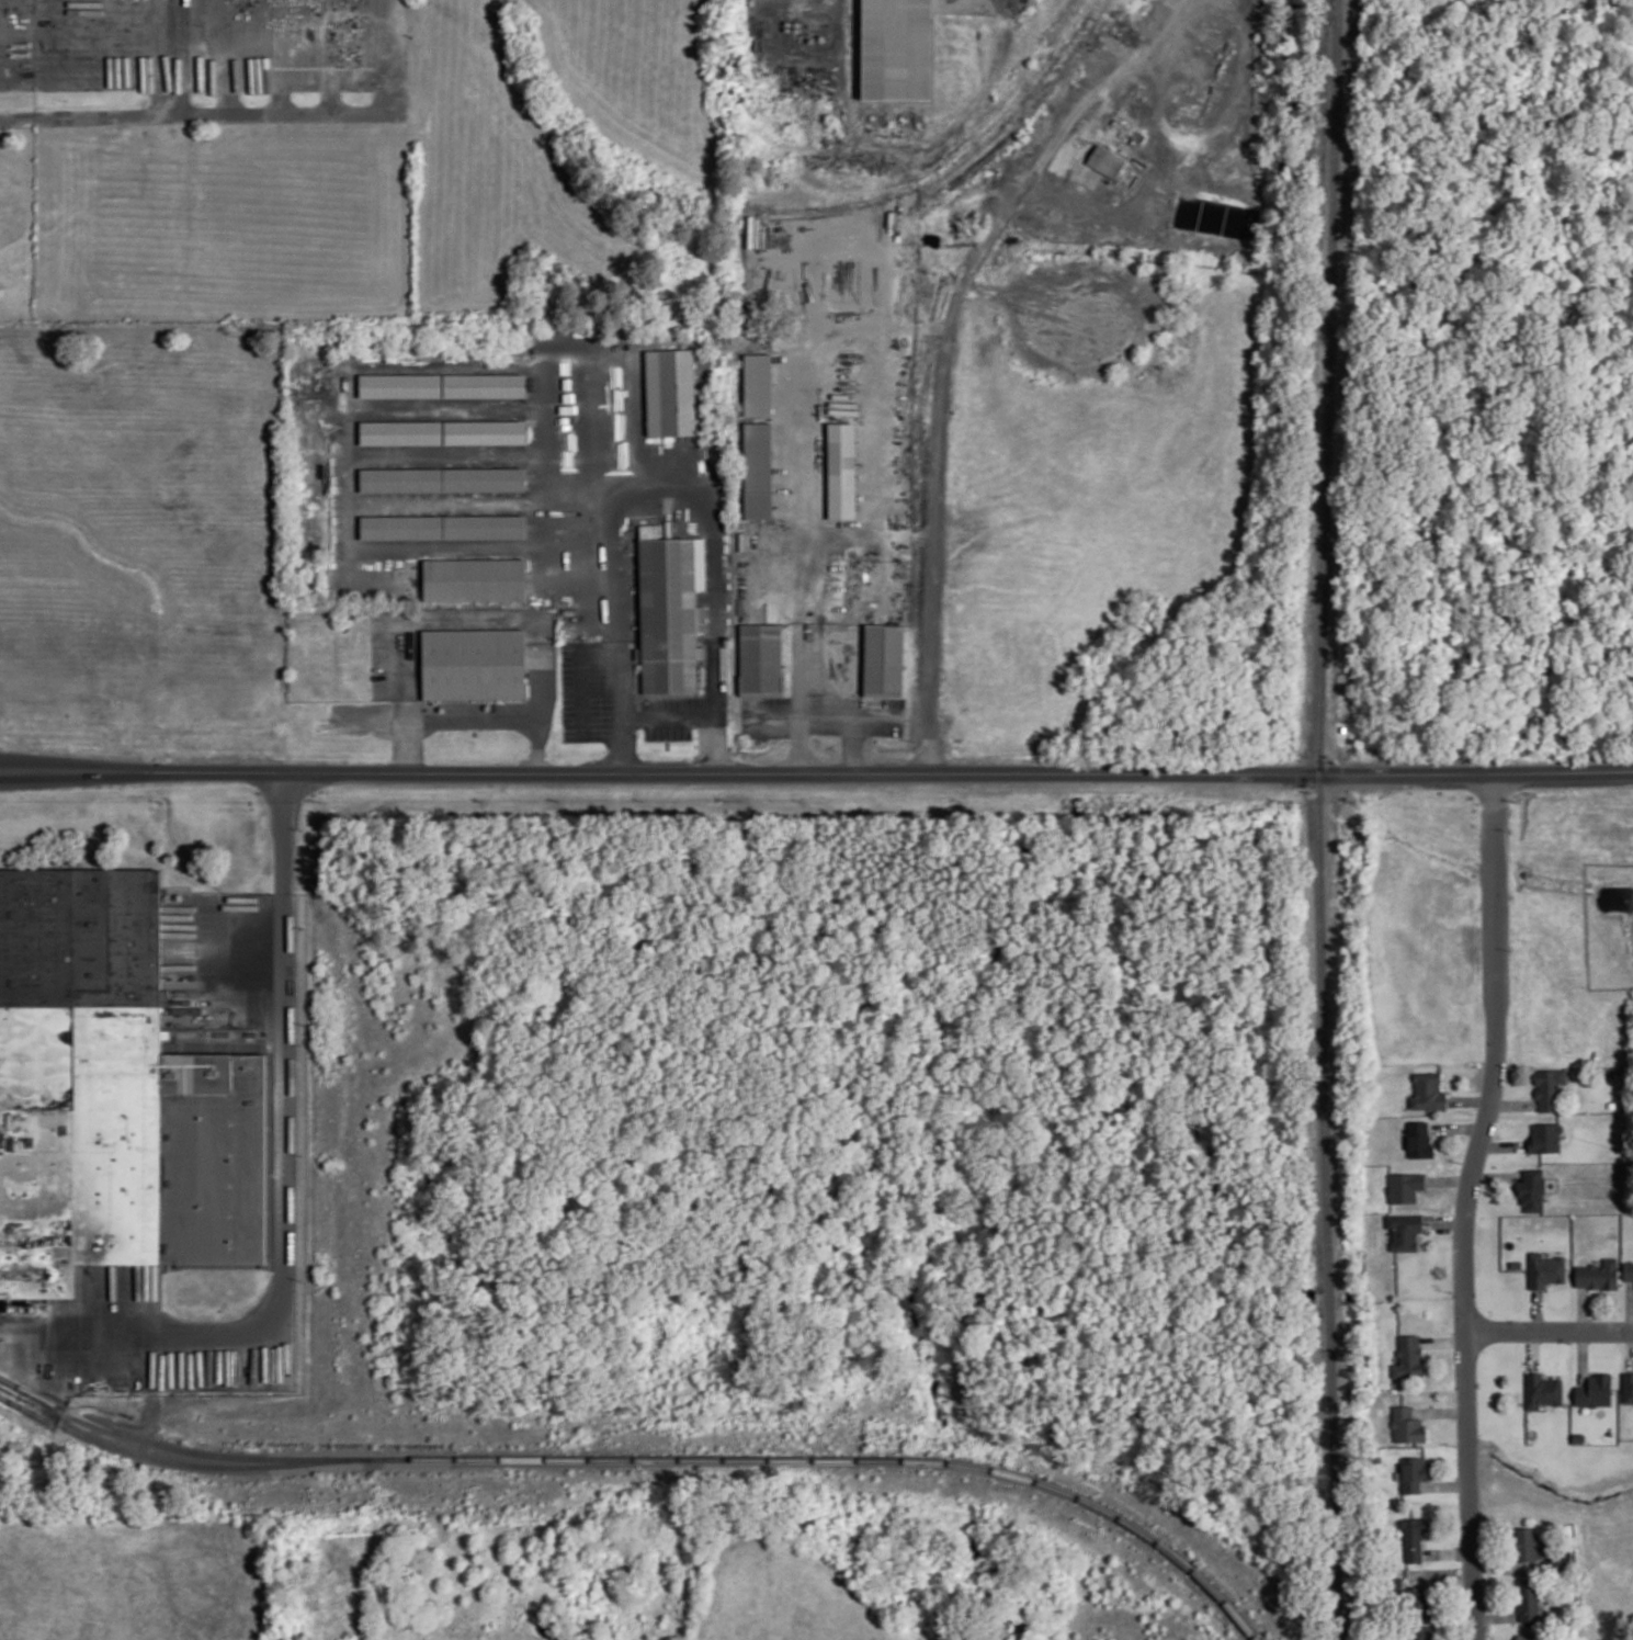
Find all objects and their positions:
street lamp: (359, 25)
building: (896, 49)
road: (177, 57)
street lamp: (360, 90)
road: (251, 112)
building: (1105, 161)
road: (939, 371)
building: (758, 384)
building: (400, 386)
building: (484, 386)
building: (671, 392)
building: (401, 433)
building: (485, 433)
building: (842, 470)
building: (758, 471)
building: (443, 480)
road: (666, 504)
building: (444, 528)
road: (798, 568)
building: (475, 579)
building: (671, 610)
road: (470, 619)
building: (761, 659)
building: (884, 659)
building: (474, 664)
road: (824, 714)
road: (670, 715)
road: (472, 722)
road: (854, 743)
road: (816, 771)
railway: (1320, 819)
building: (1549, 1088)
building: (1427, 1092)
building: (112, 1097)
road: (284, 1123)
building: (1545, 1138)
building: (1419, 1139)
building: (1405, 1187)
building: (1532, 1190)
road: (1467, 1204)
building: (1405, 1231)
building: (1545, 1270)
building: (1628, 1270)
building: (1597, 1275)
road: (1538, 1309)
road: (1549, 1330)
road: (1444, 1339)
road: (1534, 1348)
building: (1408, 1357)
building: (1628, 1388)
building: (1542, 1390)
building: (1595, 1391)
road: (1441, 1410)
building: (1407, 1425)
railway: (650, 1457)
railway: (177, 1460)
building: (1413, 1473)
building: (1528, 1545)
building: (1561, 1559)
building: (1528, 1599)
building: (1417, 1603)
building: (1421, 1632)
building: (1530, 1636)

